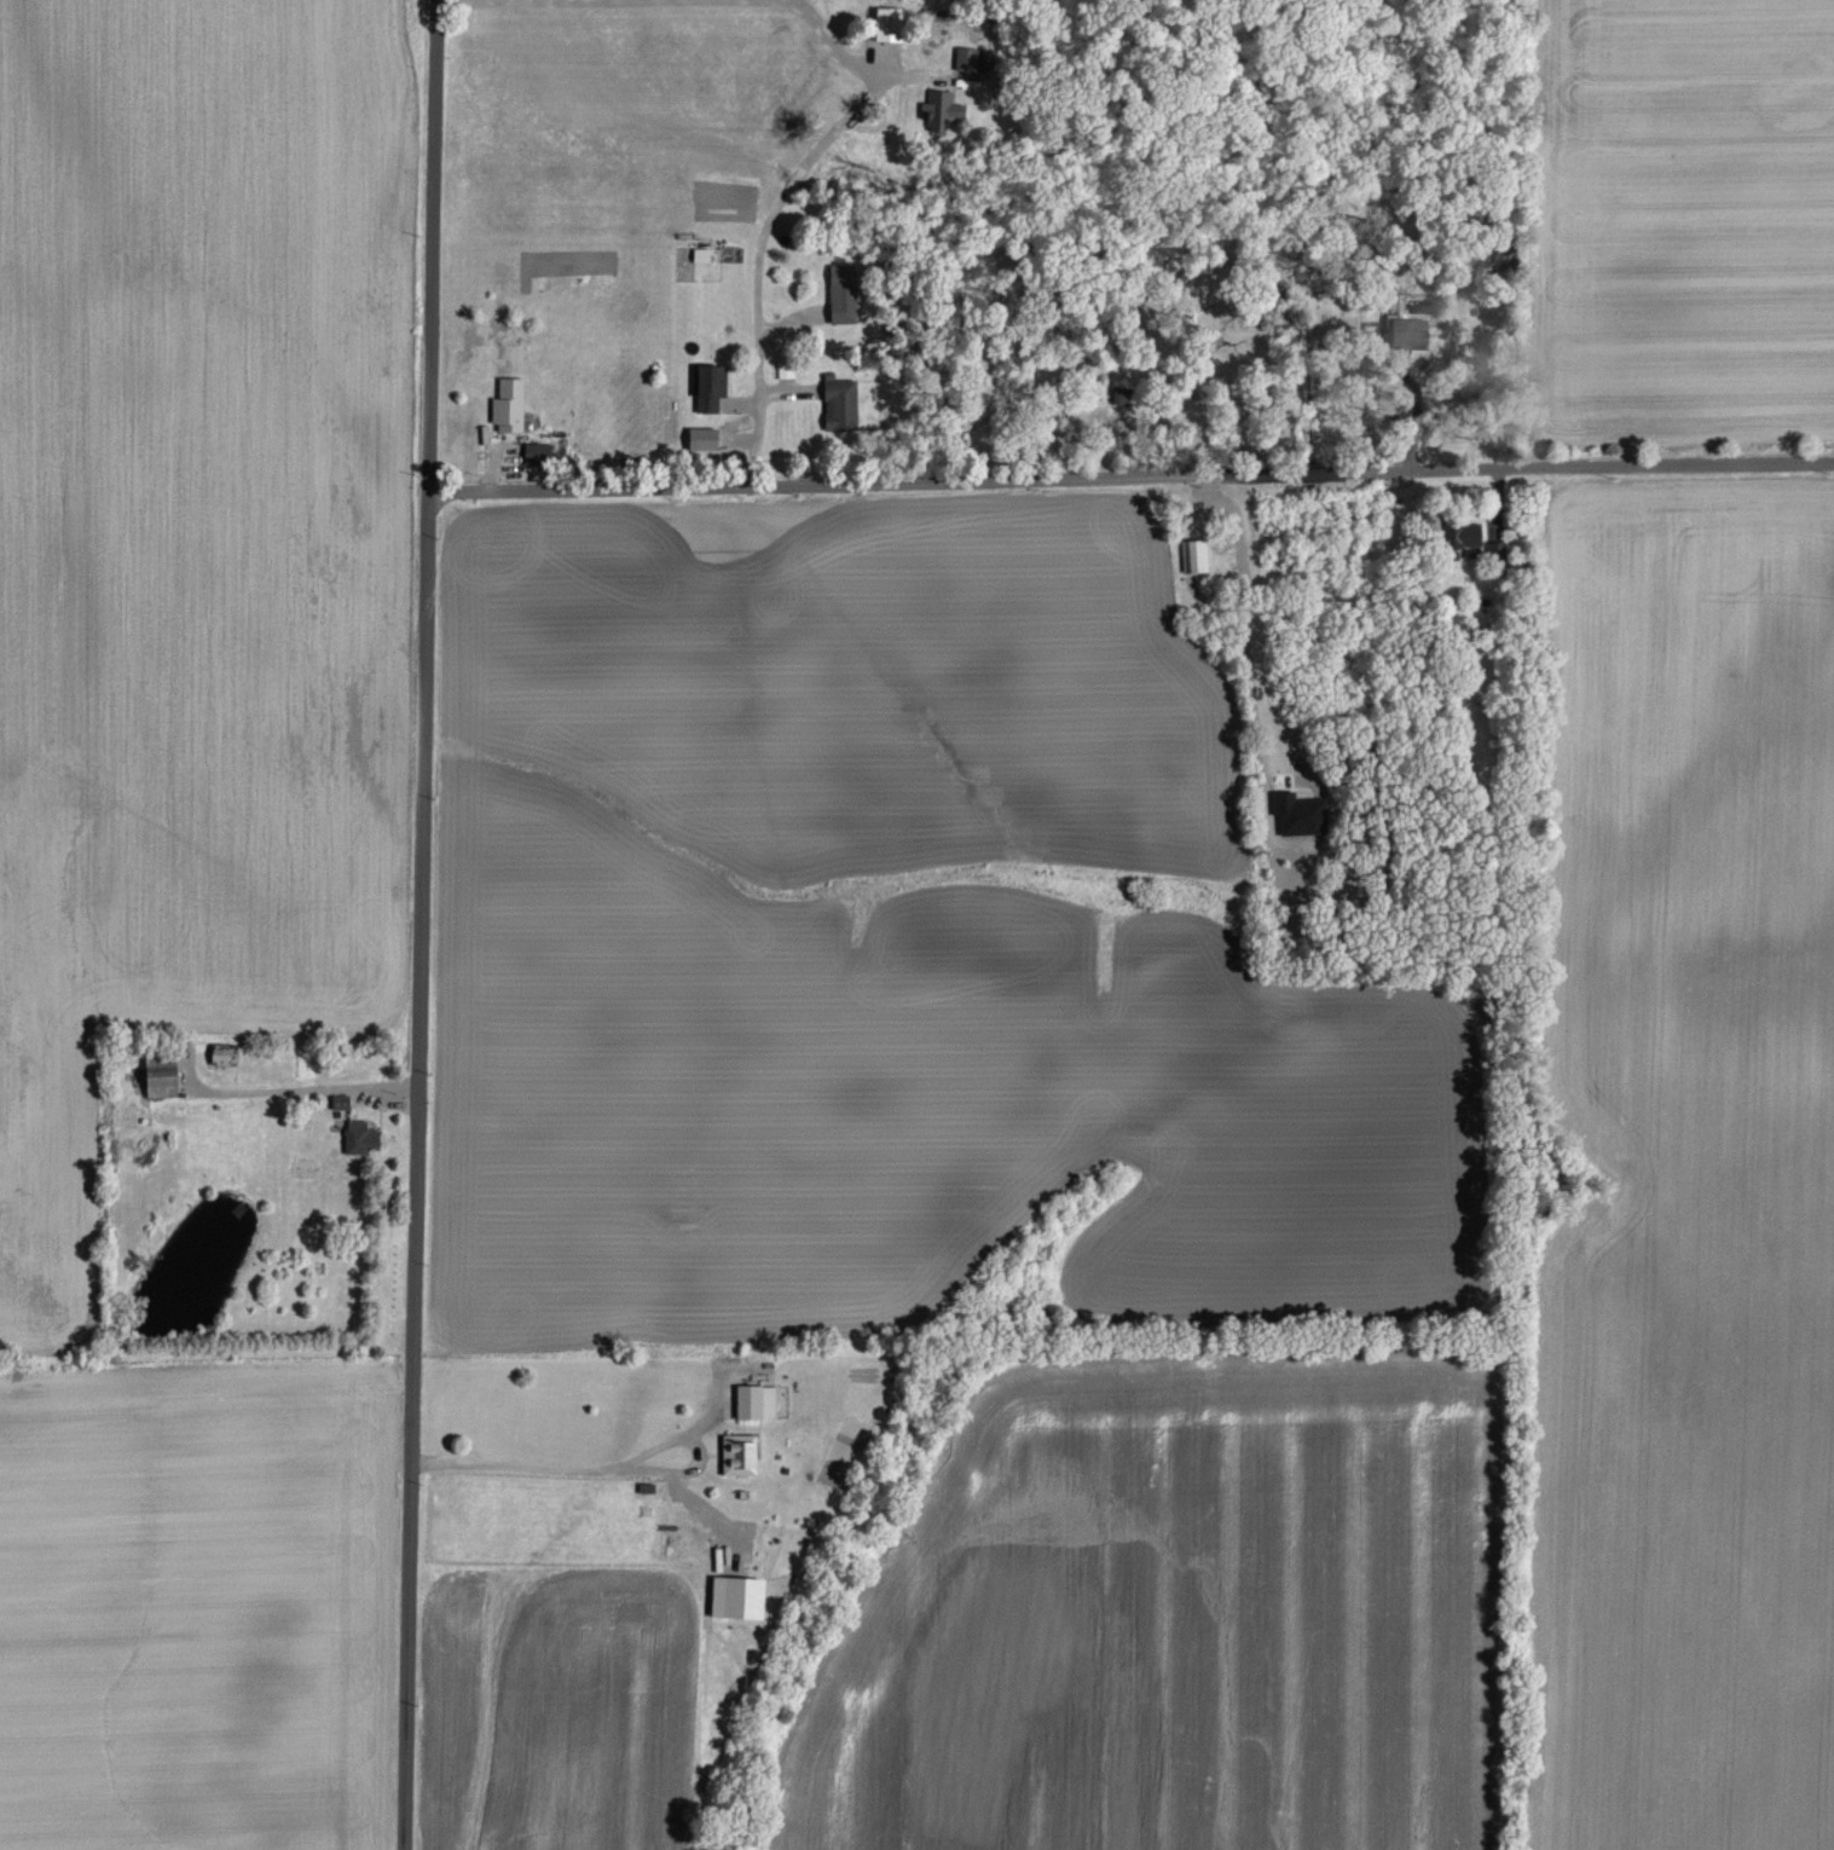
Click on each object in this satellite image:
road: (676, 4)
building: (890, 24)
building: (967, 59)
building: (987, 59)
building: (943, 106)
road: (435, 242)
road: (766, 244)
building: (704, 254)
building: (844, 291)
building: (1413, 334)
building: (711, 386)
building: (844, 401)
road: (1416, 403)
building: (510, 404)
building: (705, 438)
building: (537, 452)
road: (1132, 475)
building: (1196, 555)
road: (1254, 571)
road: (1256, 675)
building: (163, 1083)
road: (309, 1085)
building: (363, 1138)
road: (422, 1167)
building: (758, 1401)
building: (740, 1456)
road: (556, 1463)
building: (739, 1596)

